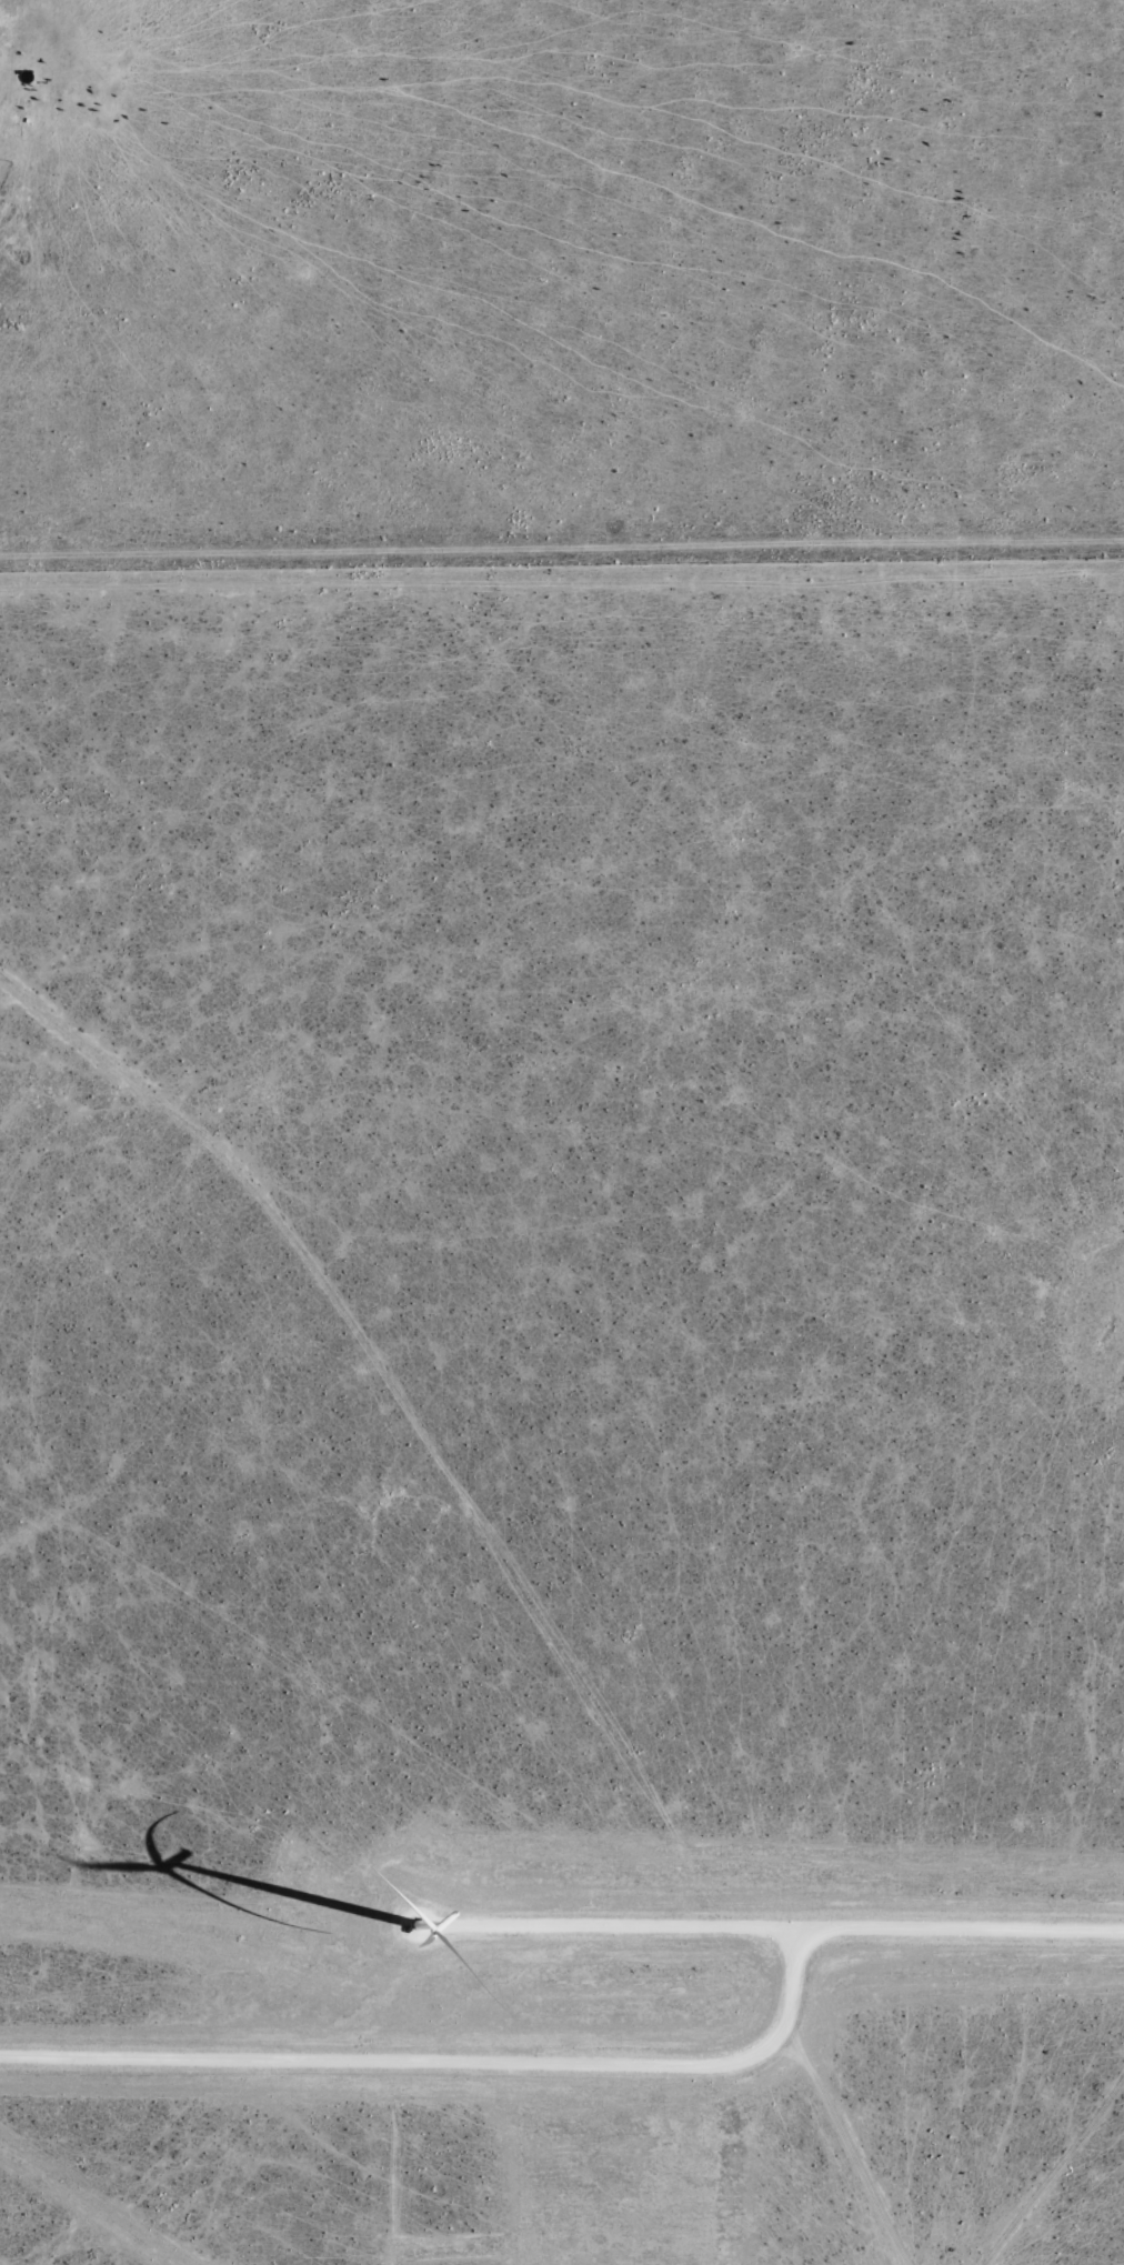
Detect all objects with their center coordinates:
wind turbine: (411, 1921)

